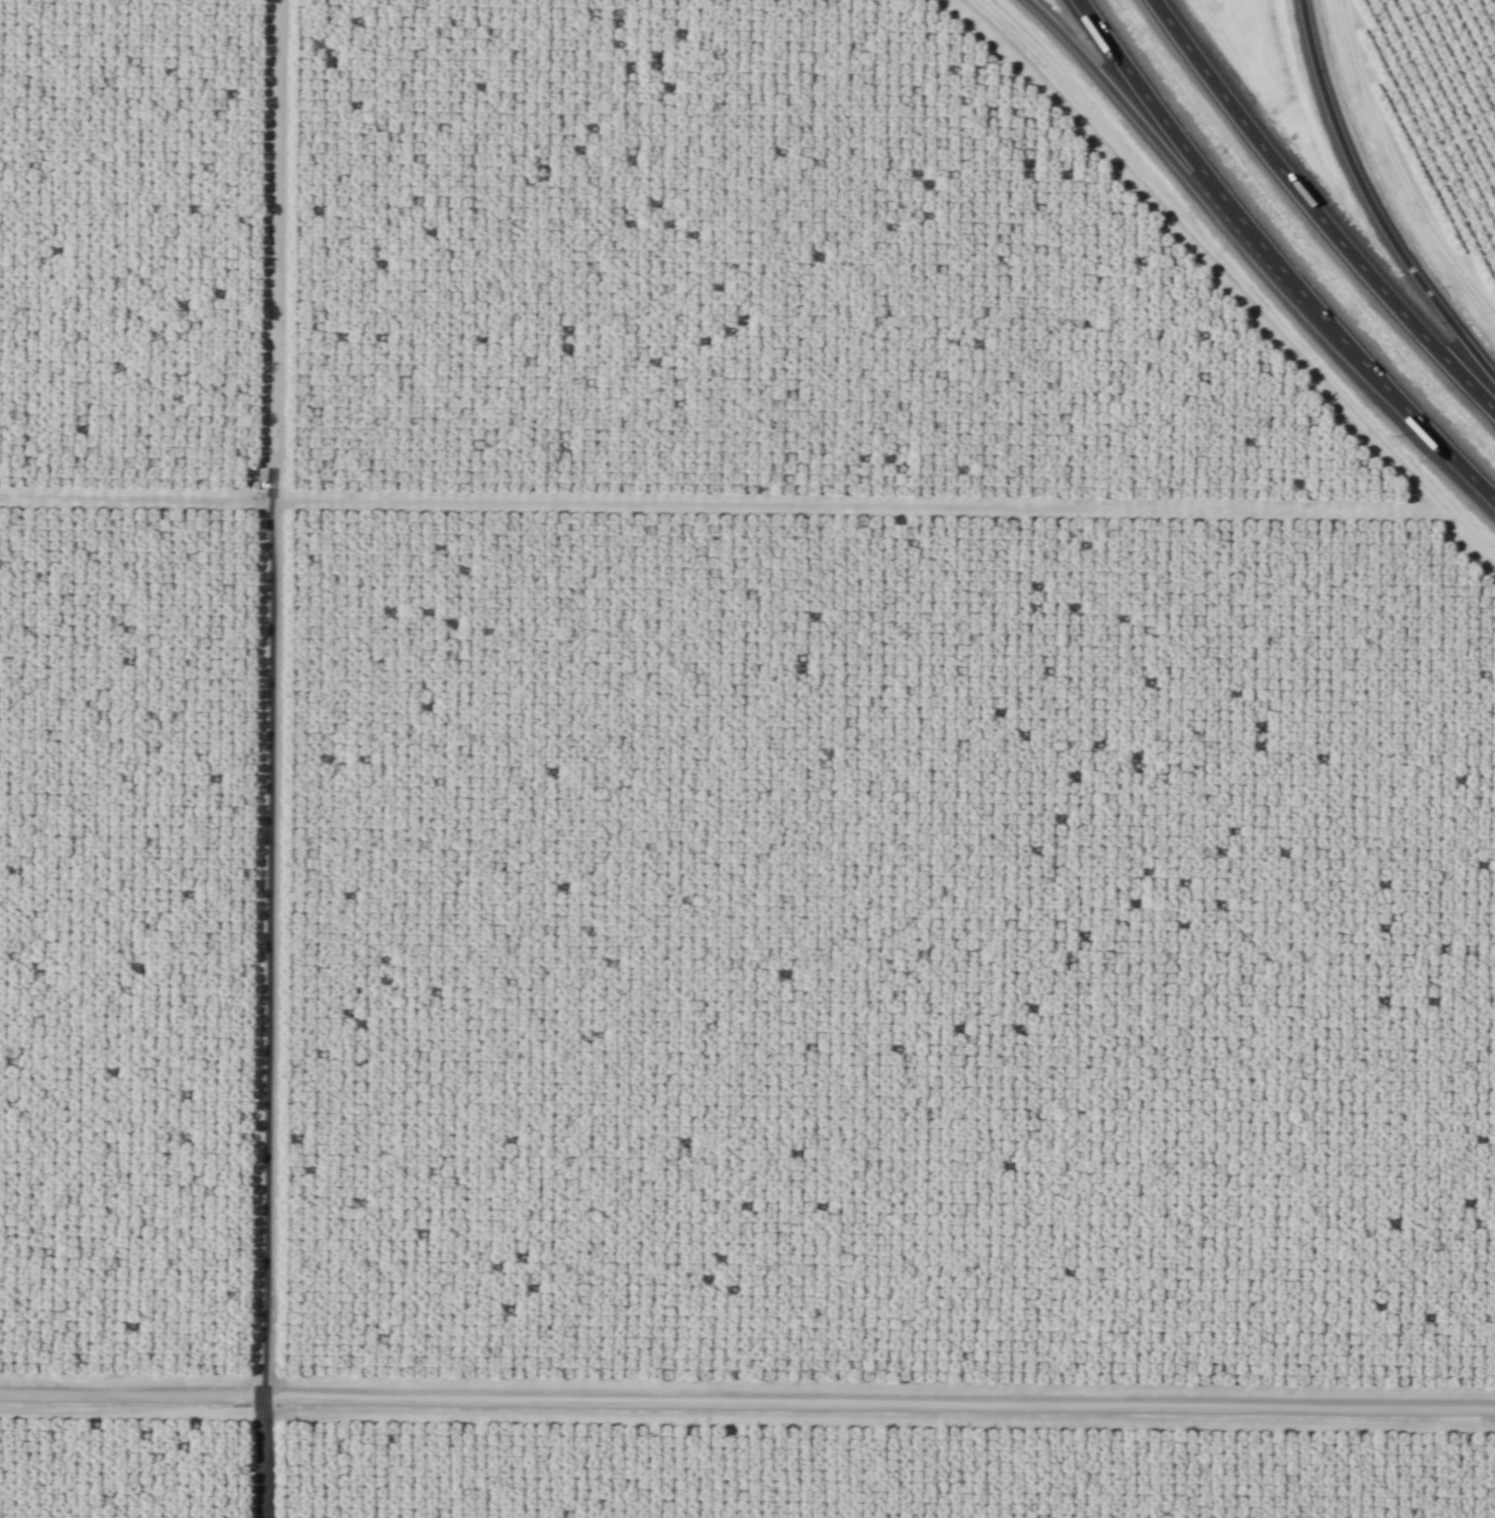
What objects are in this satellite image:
road: (1179, 164)
road: (1372, 199)
road: (1320, 207)
road: (1278, 255)
road: (1225, 277)
road: (135, 497)
road: (857, 503)
road: (269, 697)
road: (747, 1401)
road: (260, 1456)

